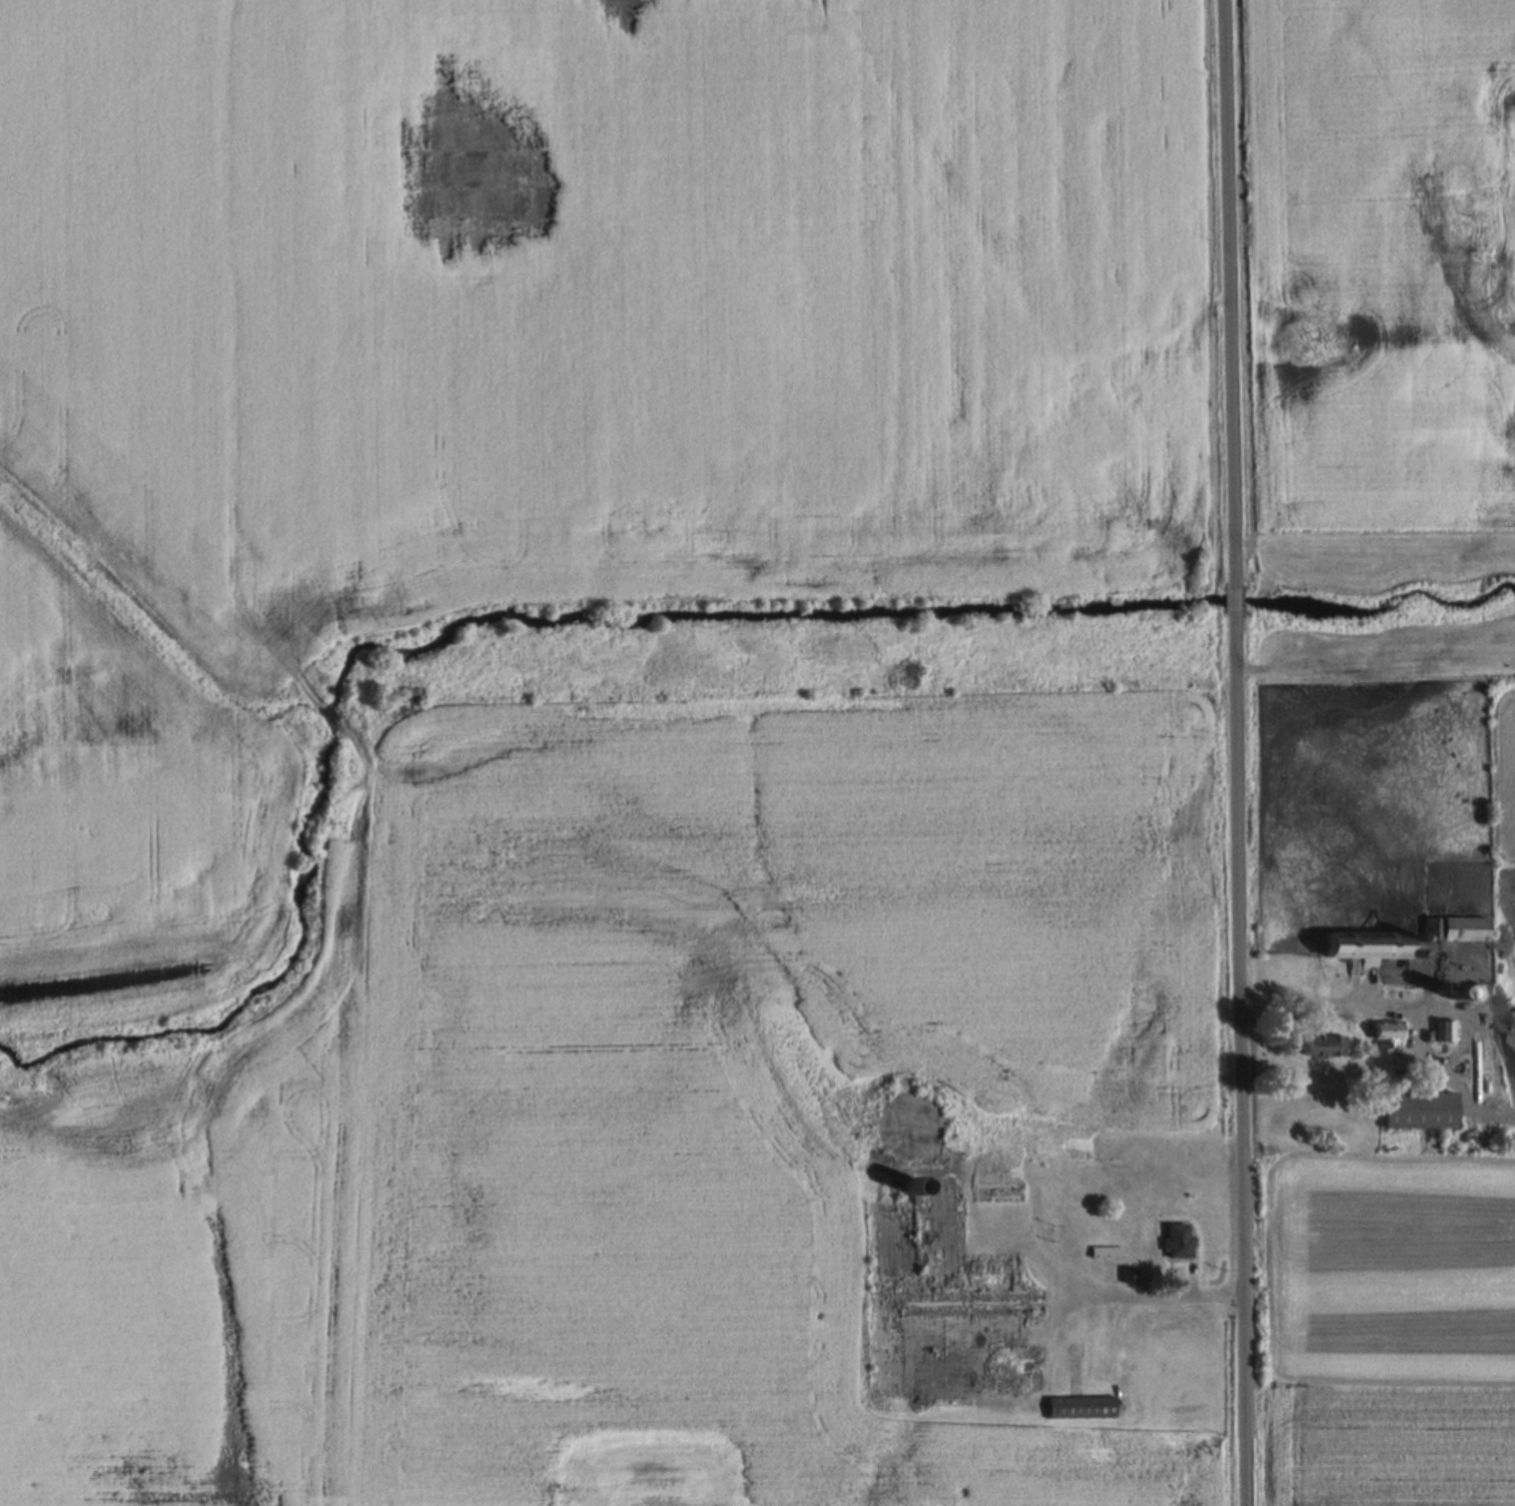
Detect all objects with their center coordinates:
road: (1236, 752)
building: (1457, 928)
building: (1369, 946)
road: (1355, 1003)
building: (1387, 1029)
building: (1445, 1030)
building: (1324, 1044)
road: (1444, 1081)
building: (1419, 1110)
building: (913, 1132)
building: (1002, 1191)
building: (1177, 1240)
building: (1108, 1250)
building: (1129, 1274)
road: (1150, 1292)
building: (1102, 1343)
building: (884, 1357)
building: (1081, 1407)

